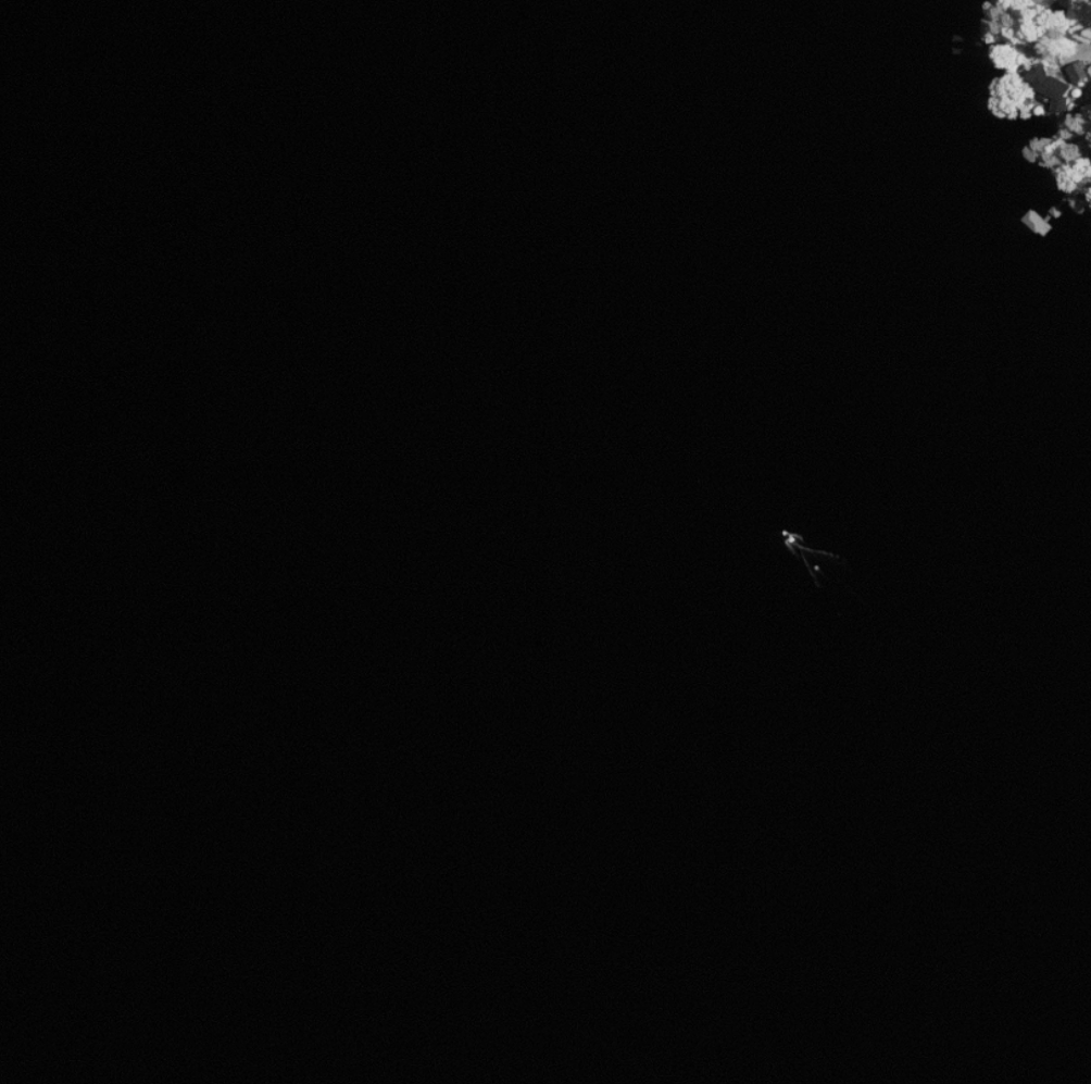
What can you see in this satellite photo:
building: (1055, 86)
river: (521, 651)

